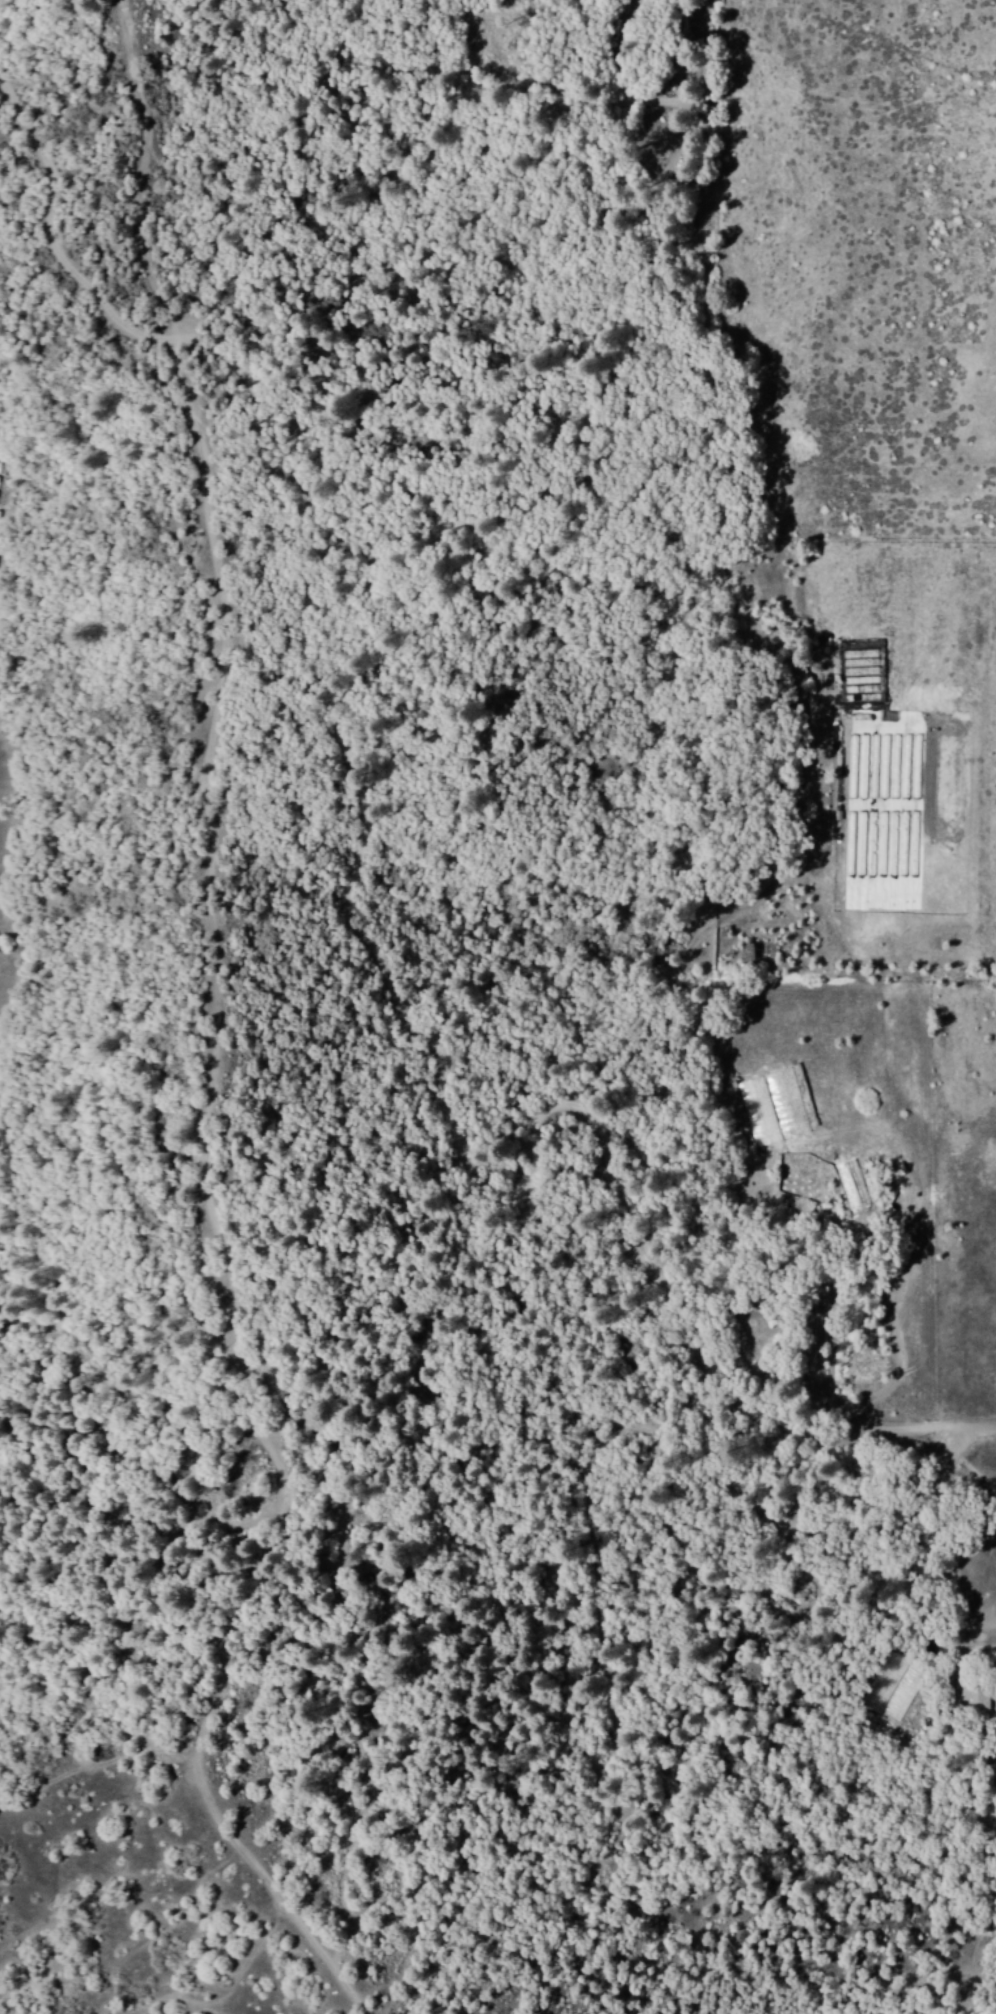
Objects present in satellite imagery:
road: (608, 78)
road: (713, 151)
road: (176, 324)
road: (211, 790)
building: (747, 953)
road: (473, 1157)
road: (919, 1429)
road: (971, 1462)
road: (229, 1651)
building: (970, 1694)

